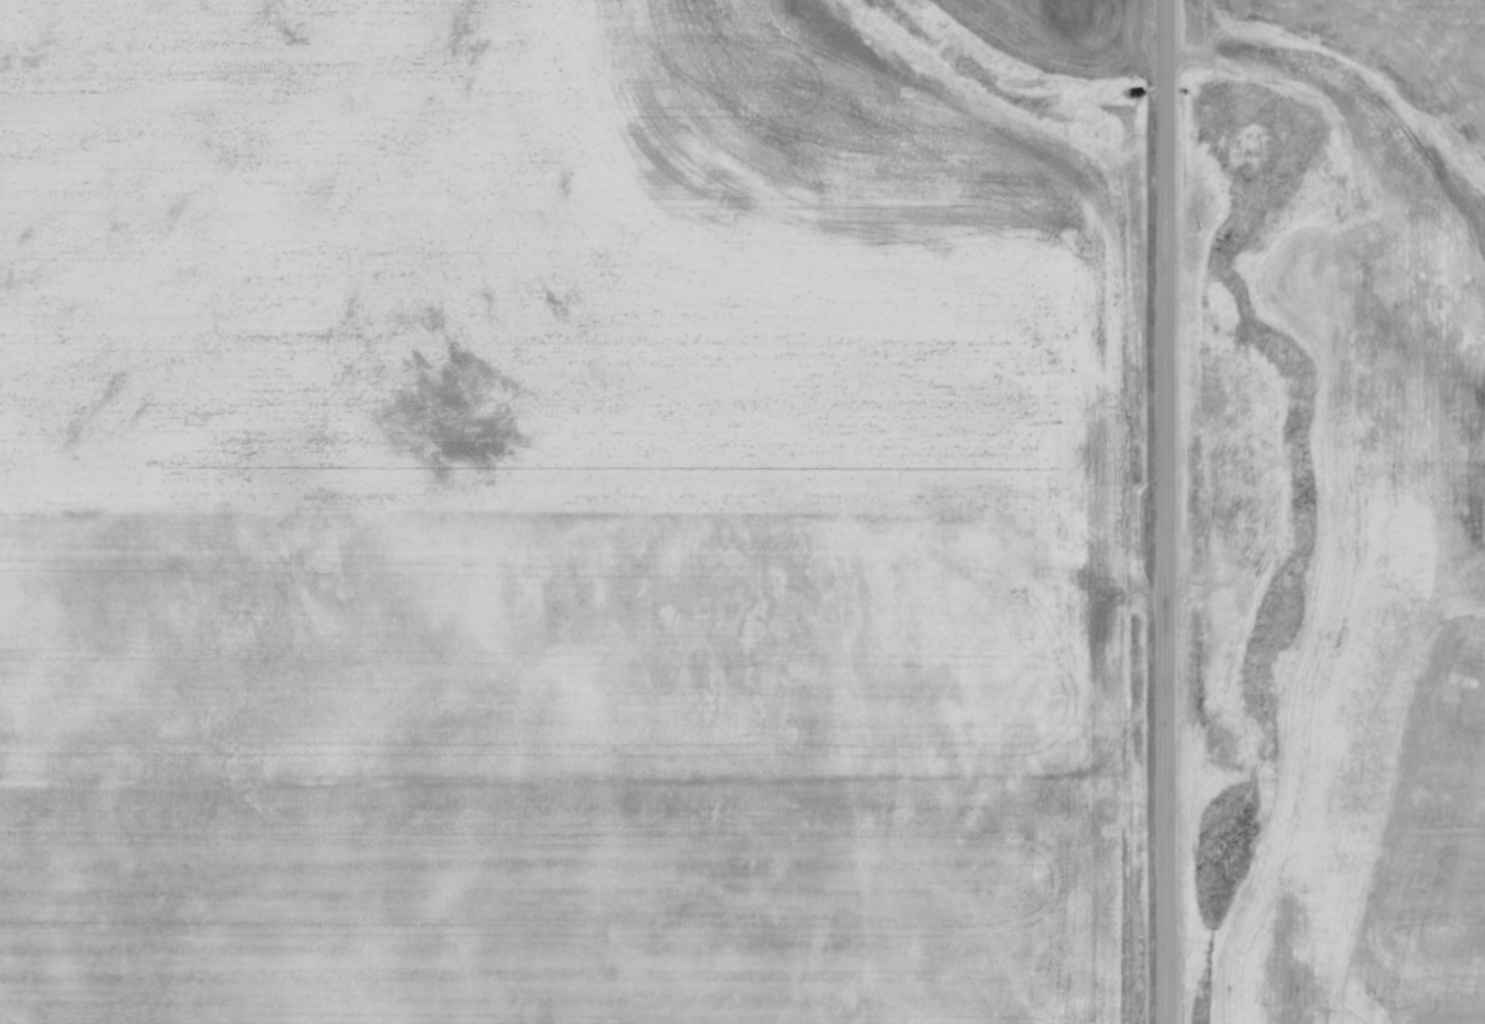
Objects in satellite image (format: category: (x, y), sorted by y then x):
road: (1167, 512)

